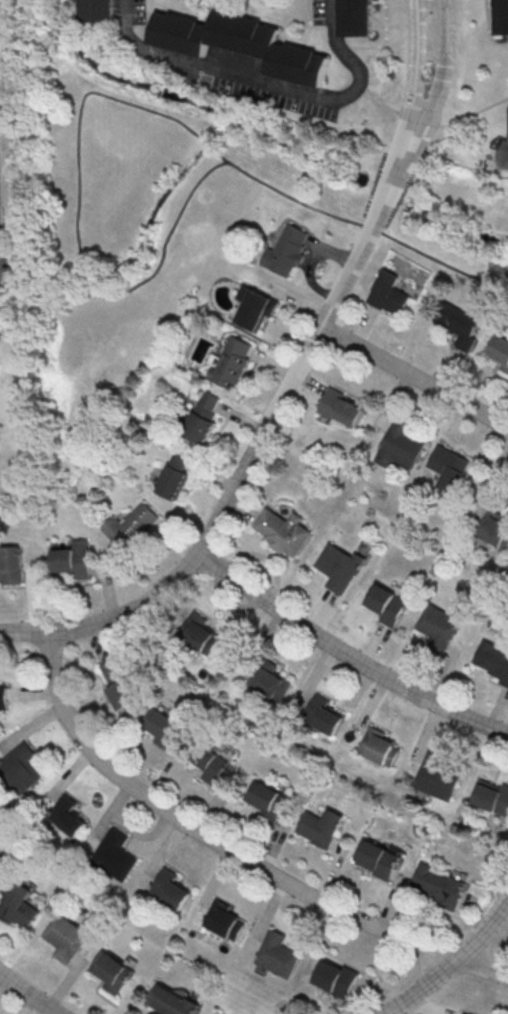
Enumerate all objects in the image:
building: (97, 11)
building: (501, 17)
building: (355, 19)
building: (239, 45)
road: (414, 66)
road: (444, 71)
road: (271, 83)
road: (77, 121)
road: (206, 143)
road: (402, 157)
road: (505, 158)
road: (387, 192)
park: (150, 222)
park: (459, 222)
road: (359, 224)
park: (201, 238)
road: (165, 244)
building: (286, 250)
road: (85, 280)
building: (389, 293)
building: (255, 307)
building: (459, 323)
building: (498, 351)
building: (230, 362)
road: (415, 377)
building: (340, 407)
building: (203, 417)
building: (397, 446)
building: (446, 466)
building: (175, 474)
road: (241, 477)
building: (131, 526)
building: (493, 526)
building: (163, 531)
building: (281, 533)
building: (72, 562)
building: (9, 567)
building: (336, 568)
building: (386, 605)
building: (438, 628)
building: (198, 632)
road: (346, 653)
building: (493, 659)
building: (270, 680)
building: (118, 683)
building: (2, 696)
building: (325, 714)
building: (161, 727)
building: (379, 747)
building: (209, 762)
building: (18, 767)
building: (436, 780)
building: (492, 796)
building: (266, 799)
building: (65, 816)
building: (321, 826)
road: (231, 850)
building: (109, 855)
building: (378, 859)
building: (440, 885)
building: (167, 889)
building: (17, 905)
building: (220, 921)
building: (64, 937)
building: (275, 954)
road: (449, 963)
building: (111, 971)
building: (334, 977)
road: (28, 994)
building: (172, 1001)
building: (216, 1012)

